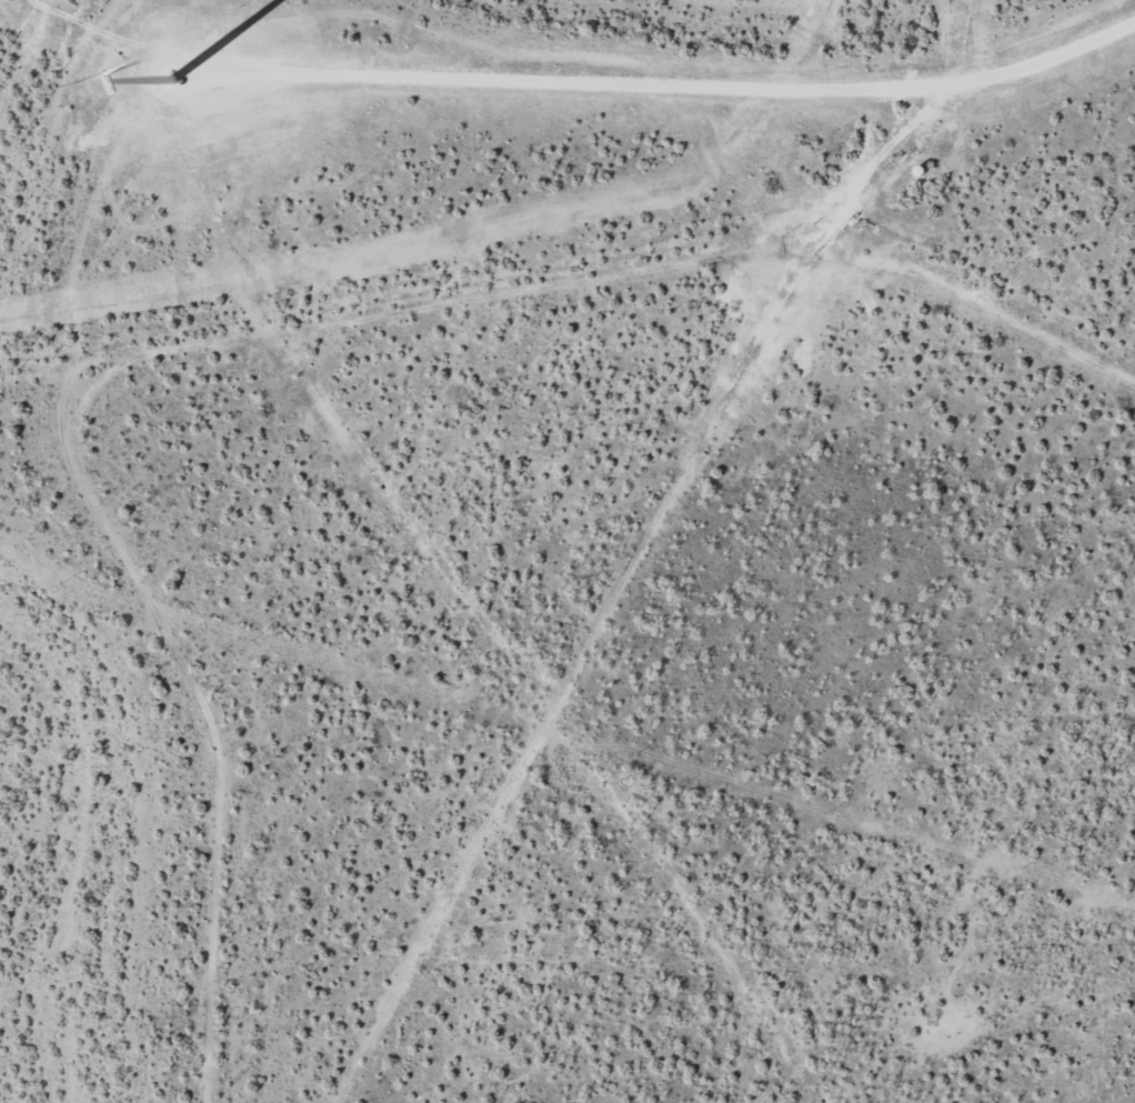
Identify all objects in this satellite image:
wind turbine: (175, 80)

